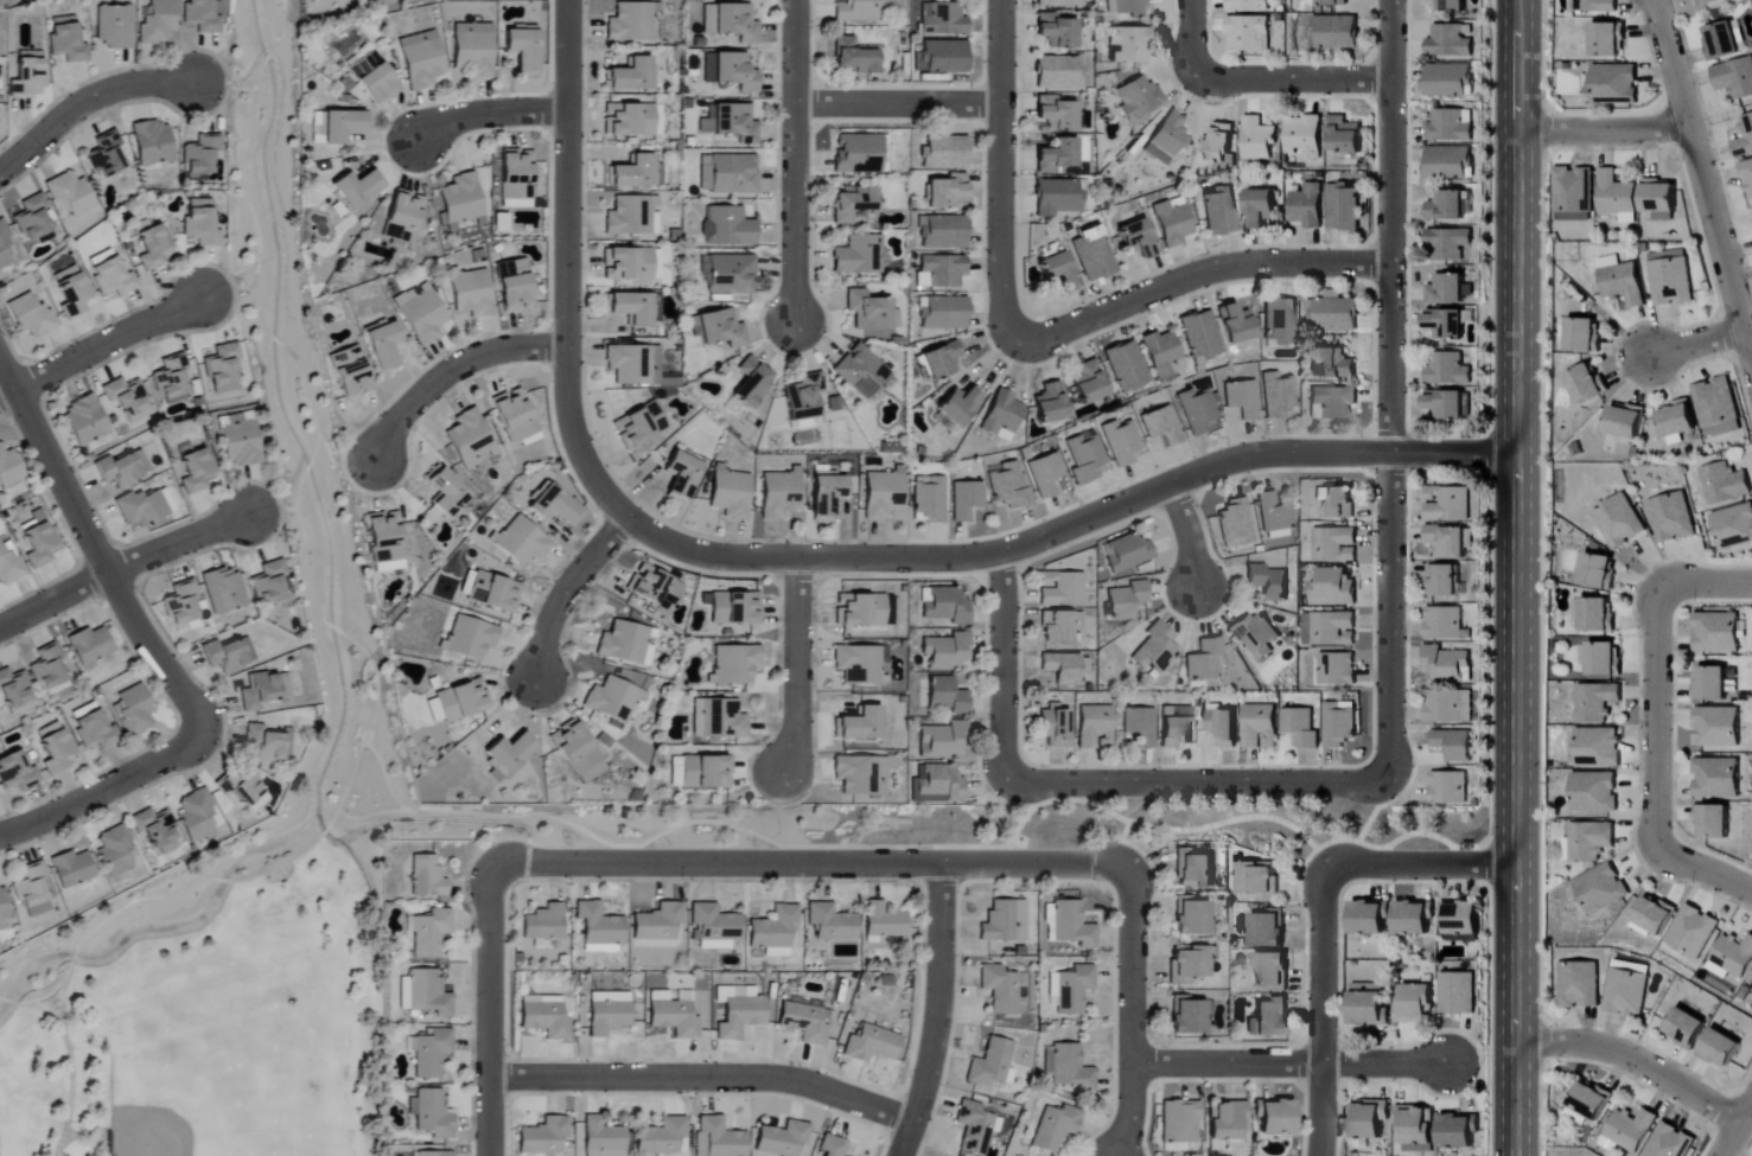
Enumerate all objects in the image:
building: (1059, 2)
building: (1333, 2)
building: (1707, 2)
building: (1250, 5)
building: (1452, 5)
building: (1595, 6)
building: (1126, 7)
building: (855, 11)
building: (200, 15)
building: (942, 19)
building: (157, 23)
building: (631, 23)
building: (730, 23)
building: (114, 26)
road: (280, 27)
building: (1058, 31)
building: (1334, 32)
building: (1249, 33)
road: (1190, 38)
building: (66, 40)
building: (1610, 40)
building: (1450, 41)
building: (1724, 41)
building: (1128, 45)
building: (472, 49)
building: (522, 50)
building: (854, 57)
building: (942, 57)
road: (266, 58)
building: (421, 59)
building: (731, 71)
building: (1058, 72)
building: (27, 75)
building: (632, 75)
building: (374, 78)
road: (1294, 78)
building: (1735, 78)
building: (1448, 79)
building: (1612, 84)
road: (222, 88)
building: (1136, 97)
road: (87, 104)
road: (898, 104)
building: (1057, 113)
road: (486, 115)
building: (629, 120)
building: (731, 122)
building: (342, 126)
building: (1448, 127)
road: (1604, 128)
building: (1345, 135)
building: (1305, 136)
building: (1745, 138)
building: (1166, 139)
building: (1259, 139)
building: (153, 142)
building: (1219, 143)
building: (945, 153)
building: (859, 154)
building: (1057, 154)
building: (106, 155)
building: (200, 158)
building: (1448, 162)
road: (794, 164)
building: (631, 173)
building: (728, 174)
building: (517, 175)
building: (1747, 175)
road: (1701, 180)
road: (1001, 185)
building: (356, 189)
building: (947, 191)
building: (1574, 193)
building: (71, 194)
building: (1057, 197)
building: (1619, 197)
building: (461, 200)
building: (1661, 200)
building: (854, 203)
building: (1308, 206)
building: (1344, 206)
building: (1450, 206)
building: (1262, 209)
building: (1219, 210)
building: (630, 216)
building: (403, 217)
building: (32, 218)
building: (1172, 222)
building: (199, 223)
building: (728, 226)
building: (943, 232)
building: (1138, 239)
building: (1448, 244)
building: (153, 247)
building: (6, 249)
building: (860, 255)
building: (1092, 255)
building: (631, 264)
road: (566, 267)
road: (257, 269)
building: (939, 272)
building: (1059, 272)
road: (1211, 273)
building: (731, 275)
building: (112, 277)
building: (1671, 277)
building: (1623, 281)
building: (514, 285)
building: (1448, 289)
building: (70, 290)
road: (225, 292)
building: (471, 294)
building: (632, 307)
building: (871, 311)
building: (420, 313)
building: (944, 313)
building: (1333, 313)
building: (30, 317)
building: (1280, 321)
building: (1236, 324)
building: (1448, 324)
building: (718, 328)
building: (1200, 336)
building: (1585, 336)
road: (1696, 341)
building: (382, 344)
road: (96, 345)
building: (1162, 353)
building: (942, 360)
building: (633, 364)
building: (1333, 365)
building: (1126, 366)
building: (222, 369)
road: (452, 370)
building: (1448, 370)
building: (861, 371)
building: (351, 373)
park: (289, 377)
building: (171, 379)
building: (752, 382)
building: (1089, 383)
building: (1588, 384)
road: (1389, 392)
building: (1276, 395)
building: (803, 397)
building: (1242, 398)
building: (127, 400)
building: (1333, 402)
building: (1051, 404)
building: (960, 405)
building: (1448, 405)
building: (1718, 408)
building: (1197, 410)
building: (515, 415)
building: (1002, 415)
building: (85, 421)
building: (1680, 421)
building: (1627, 422)
building: (639, 426)
building: (1160, 426)
building: (469, 436)
building: (238, 439)
building: (1120, 442)
building: (1085, 458)
road: (338, 466)
road: (308, 468)
building: (8, 470)
building: (196, 471)
building: (117, 472)
building: (1045, 474)
building: (682, 477)
building: (1725, 484)
building: (1008, 485)
building: (446, 491)
building: (731, 493)
building: (781, 494)
building: (881, 494)
building: (829, 496)
building: (928, 499)
building: (966, 500)
building: (1338, 503)
building: (1447, 505)
building: (554, 506)
building: (141, 507)
road: (273, 511)
building: (1274, 517)
building: (1673, 518)
building: (1620, 523)
building: (1236, 524)
road: (1071, 525)
building: (1733, 526)
road: (1186, 535)
building: (386, 542)
building: (522, 542)
building: (1451, 542)
building: (39, 545)
building: (1333, 545)
building: (1128, 553)
road: (100, 556)
road: (121, 564)
building: (8, 567)
building: (1600, 571)
road: (1521, 577)
building: (1446, 581)
building: (270, 583)
building: (1268, 583)
building: (654, 587)
building: (1332, 588)
building: (223, 590)
building: (1060, 590)
road: (563, 592)
building: (495, 593)
building: (1127, 600)
building: (945, 606)
building: (180, 607)
building: (735, 608)
building: (861, 611)
building: (1595, 614)
building: (1445, 624)
building: (1059, 626)
building: (1329, 630)
building: (1718, 633)
building: (1256, 636)
building: (470, 638)
building: (626, 644)
building: (90, 646)
road: (358, 646)
building: (1155, 649)
building: (947, 652)
building: (228, 656)
building: (1603, 659)
building: (1204, 660)
building: (737, 664)
building: (1447, 664)
building: (859, 665)
road: (1001, 665)
building: (1063, 668)
building: (1337, 669)
building: (49, 670)
road: (794, 671)
building: (1713, 685)
building: (14, 689)
building: (259, 691)
building: (948, 696)
building: (463, 701)
building: (612, 702)
building: (1597, 703)
building: (1450, 707)
building: (133, 709)
building: (434, 711)
building: (718, 720)
road: (1654, 723)
building: (860, 726)
building: (1139, 726)
building: (1339, 726)
building: (1055, 727)
building: (1095, 727)
building: (1177, 727)
building: (1261, 727)
building: (1224, 728)
building: (1301, 728)
building: (1719, 728)
building: (94, 732)
building: (944, 741)
building: (286, 742)
building: (1454, 745)
building: (263, 746)
building: (53, 748)
building: (1599, 748)
building: (578, 752)
building: (510, 753)
building: (17, 772)
building: (701, 772)
building: (861, 775)
building: (1718, 779)
road: (1197, 781)
building: (937, 785)
building: (1450, 788)
road: (98, 791)
road: (1076, 791)
building: (1595, 792)
road: (370, 816)
building: (196, 817)
building: (1714, 823)
building: (157, 830)
road: (325, 832)
road: (1364, 834)
road: (1429, 835)
building: (1591, 841)
road: (842, 848)
building: (115, 851)
road: (627, 855)
road: (813, 863)
building: (72, 869)
building: (1194, 869)
road: (1422, 869)
building: (427, 877)
building: (1260, 881)
building: (1601, 889)
building: (32, 890)
road: (146, 899)
building: (2, 906)
building: (1192, 918)
building: (1371, 919)
building: (1415, 919)
building: (1461, 919)
building: (884, 921)
building: (658, 922)
building: (1005, 922)
building: (832, 924)
building: (544, 925)
building: (1069, 925)
building: (715, 927)
building: (600, 928)
building: (1269, 930)
building: (775, 932)
building: (1693, 932)
building: (431, 933)
building: (1732, 958)
building: (1190, 963)
building: (1272, 972)
building: (1750, 982)
building: (1580, 985)
building: (1000, 990)
building: (1070, 990)
building: (1627, 990)
building: (425, 994)
building: (1457, 994)
road: (62, 1004)
building: (1417, 1005)
park: (205, 1009)
building: (1371, 1009)
road: (489, 1011)
building: (739, 1011)
road: (936, 1011)
road: (1132, 1013)
building: (609, 1014)
road: (1323, 1014)
building: (673, 1016)
building: (1189, 1017)
building: (1270, 1020)
building: (546, 1021)
building: (805, 1023)
building: (1690, 1030)
building: (872, 1045)
park: (236, 1048)
building: (1724, 1049)
building: (432, 1053)
road: (1635, 1061)
road: (1286, 1062)
building: (989, 1064)
building: (1066, 1067)
road: (72, 1073)
road: (705, 1080)
building: (1593, 1099)
building: (431, 1113)
building: (1275, 1115)
building: (1228, 1119)
building: (1370, 1119)
building: (1180, 1120)
building: (974, 1126)
building: (1055, 1126)
building: (1416, 1128)
road: (1735, 1129)
building: (1631, 1130)
building: (1460, 1131)
road: (96, 1132)
park: (151, 1132)
building: (543, 1136)
building: (662, 1136)
building: (604, 1138)
building: (718, 1138)
building: (782, 1139)
building: (1669, 1141)
building: (835, 1147)
building: (434, 1154)

